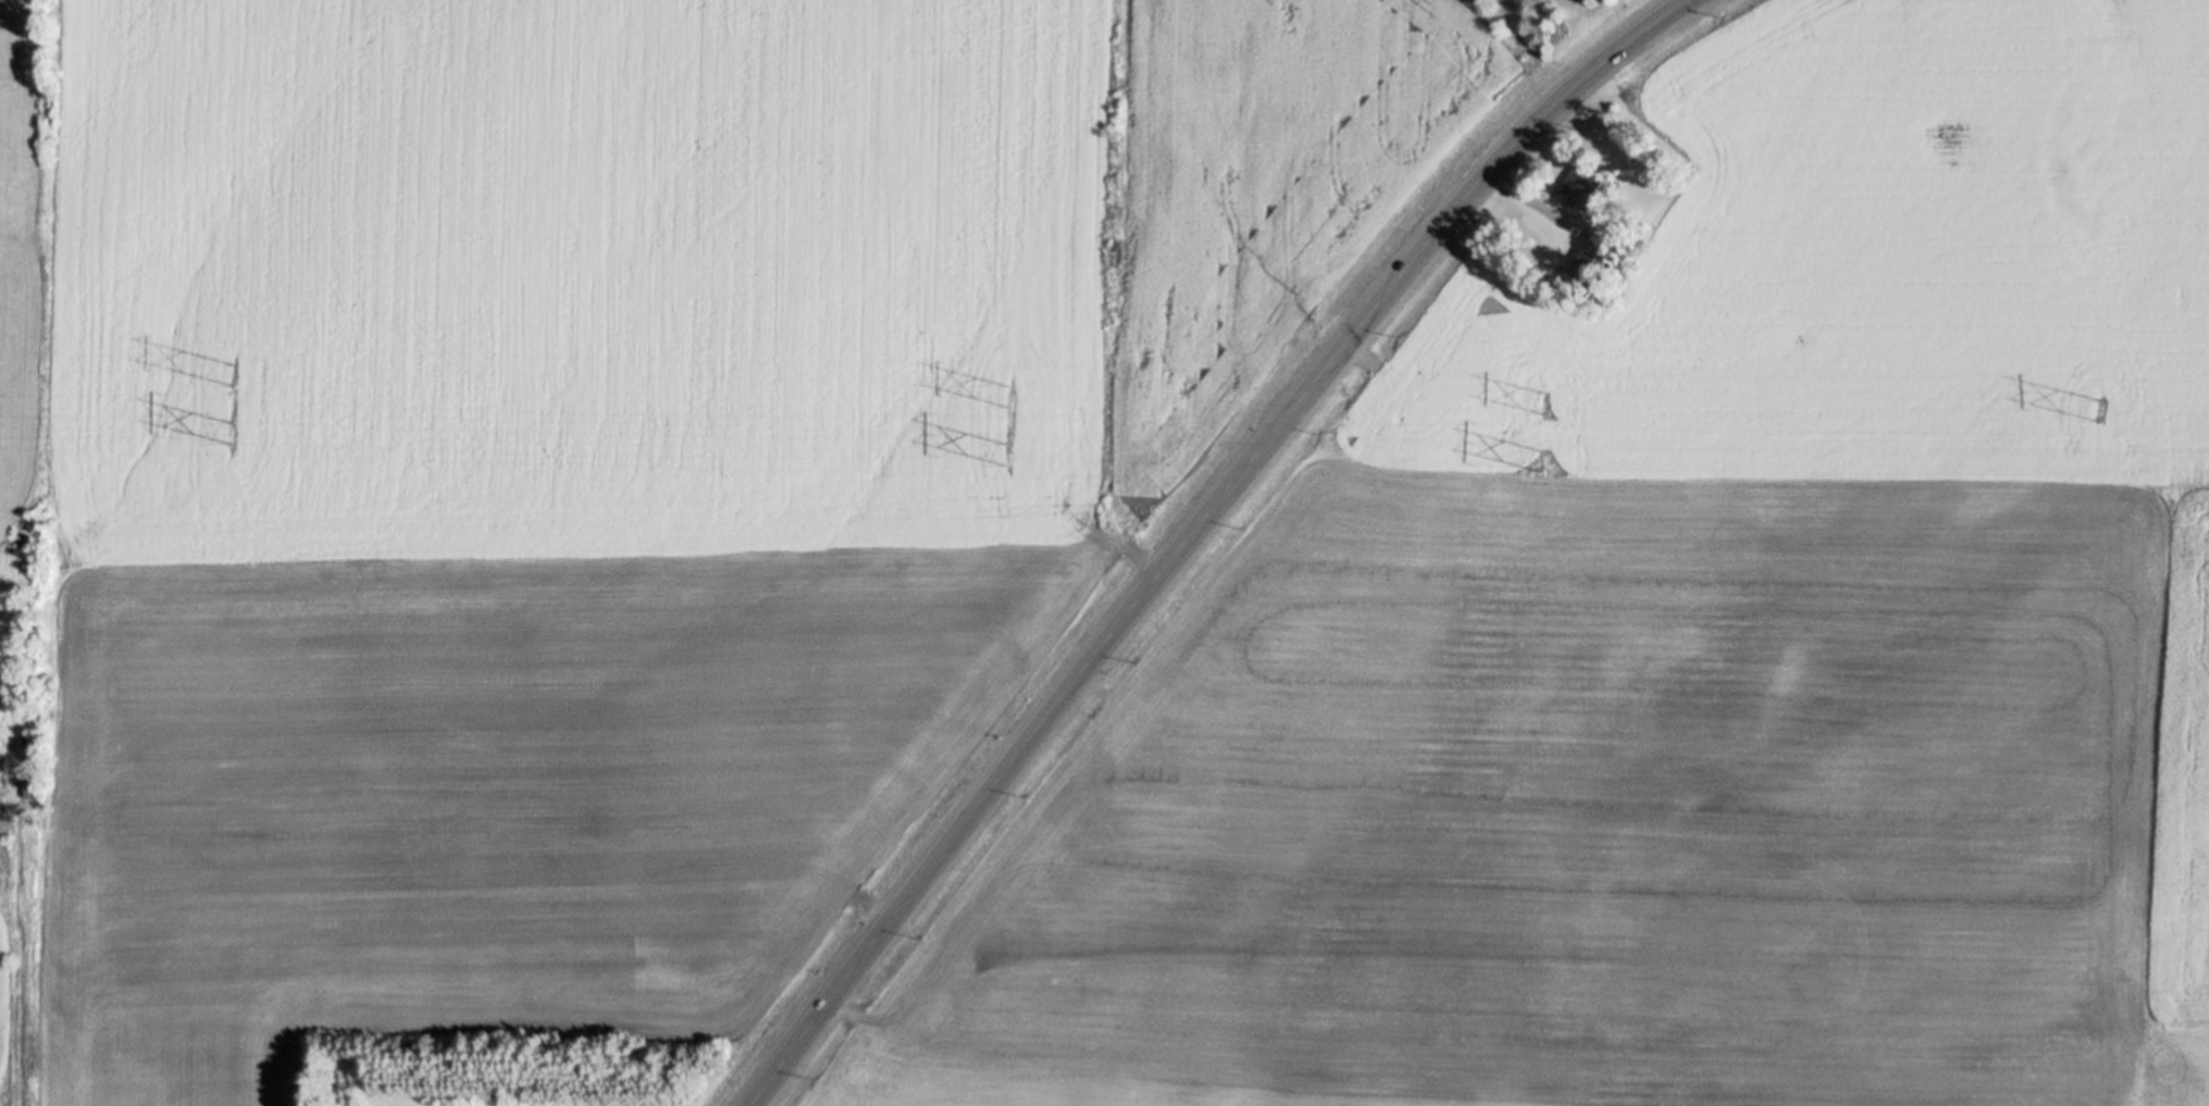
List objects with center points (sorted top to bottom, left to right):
building: (1580, 179)
road: (1546, 207)
building: (1599, 257)
power tower: (236, 372)
power tower: (1012, 396)
power tower: (1546, 401)
power tower: (2100, 407)
power tower: (234, 427)
power tower: (1010, 452)
power tower: (1544, 458)
road: (1194, 537)

